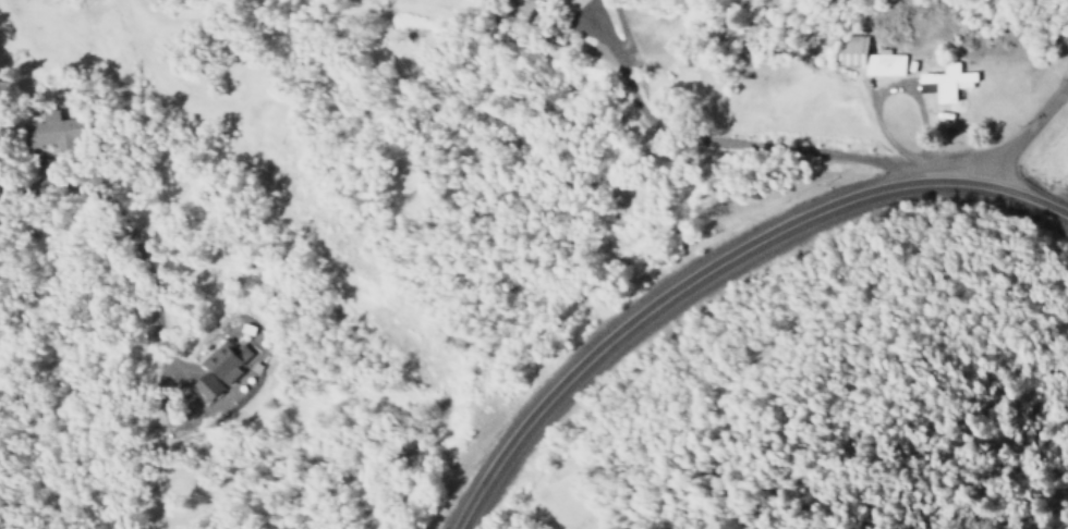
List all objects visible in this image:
building: (866, 58)
building: (947, 82)
building: (54, 131)
road: (1024, 134)
road: (716, 262)
building: (218, 367)

